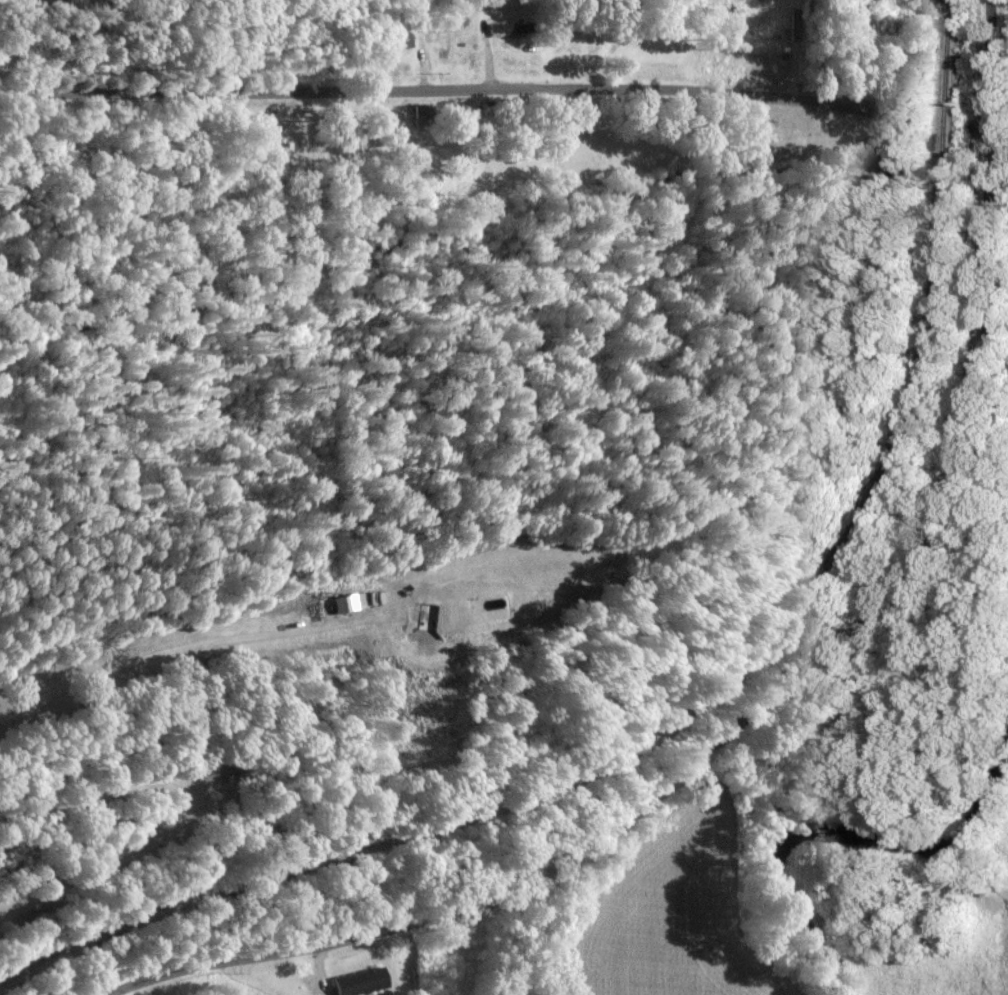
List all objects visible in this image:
building: (511, 27)
road: (495, 90)
building: (423, 115)
building: (346, 603)
building: (425, 619)
road: (175, 650)
railway: (705, 694)
road: (801, 708)
road: (190, 807)
building: (362, 981)

